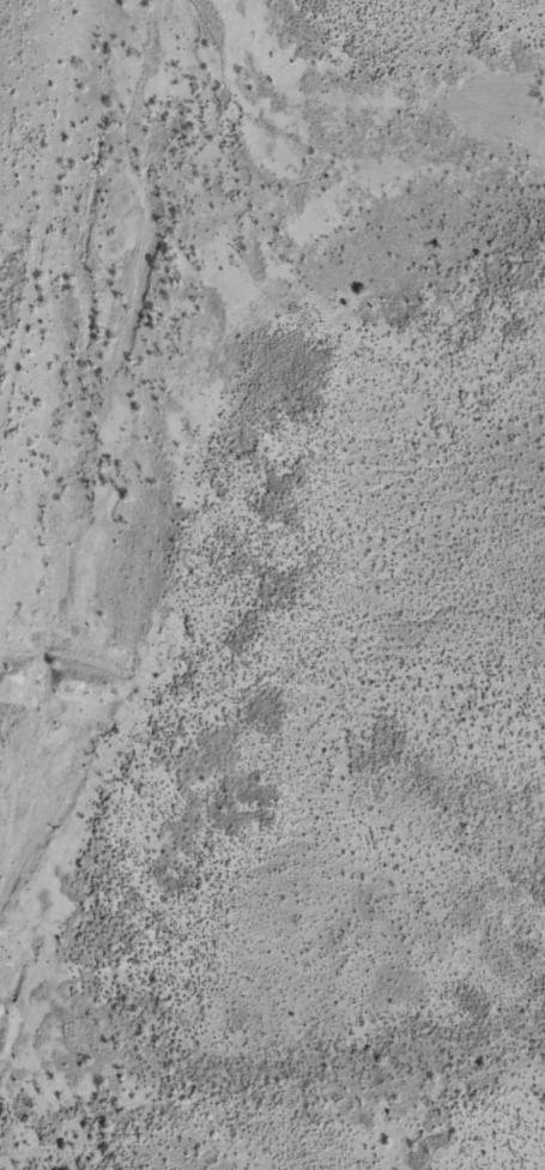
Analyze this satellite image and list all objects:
road: (67, 217)

